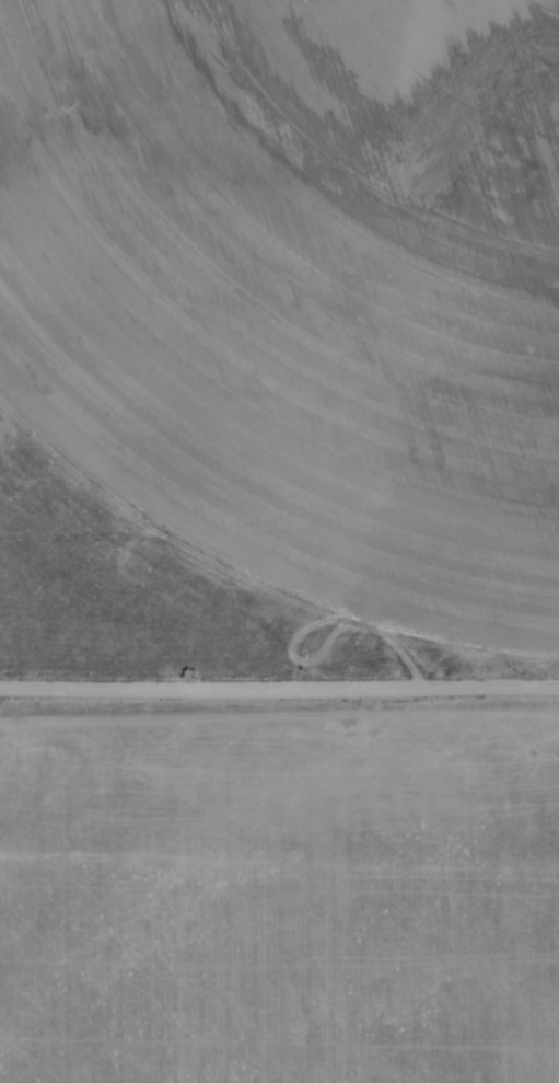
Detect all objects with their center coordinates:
road: (279, 694)

